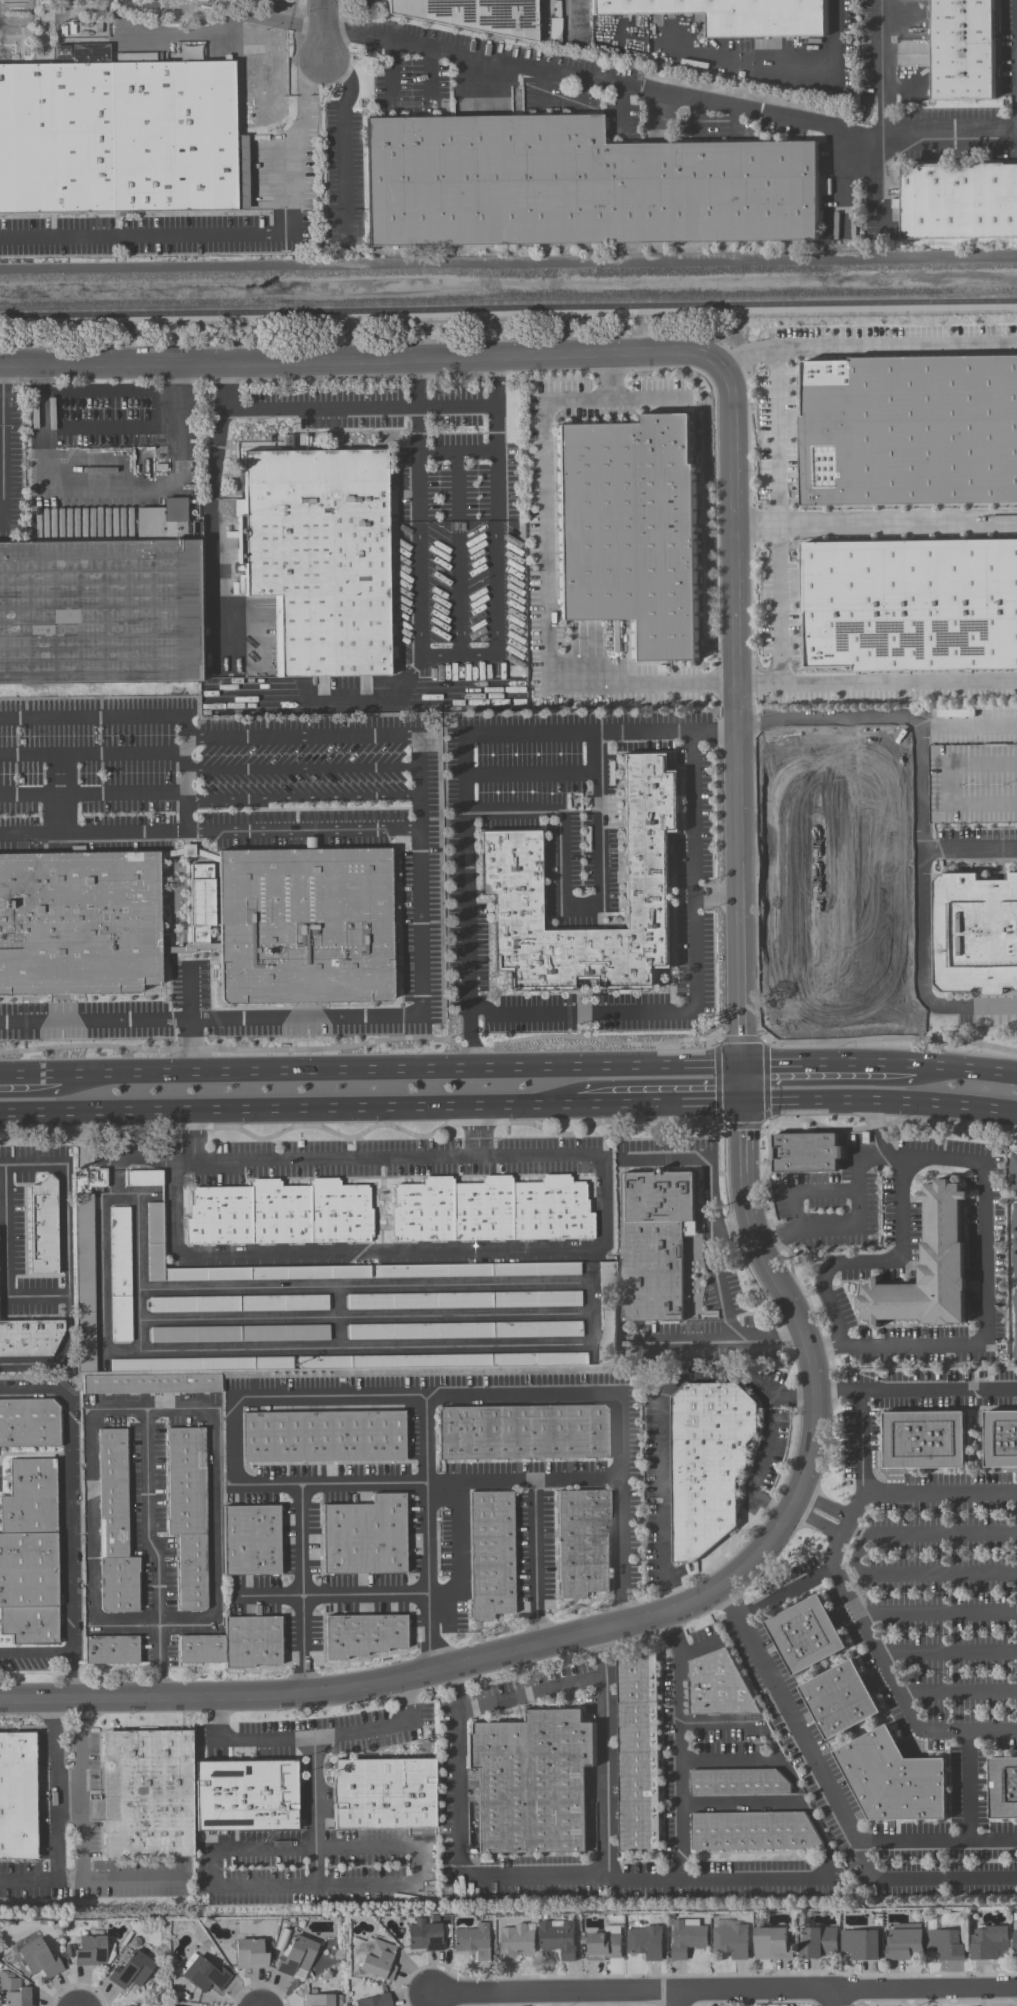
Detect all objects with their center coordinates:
building: (473, 16)
building: (730, 16)
road: (1016, 20)
road: (222, 26)
road: (324, 28)
building: (961, 50)
road: (720, 57)
road: (880, 68)
road: (670, 95)
road: (339, 137)
building: (120, 139)
building: (574, 187)
building: (958, 203)
road: (238, 235)
road: (508, 307)
road: (747, 352)
road: (360, 356)
road: (492, 382)
road: (649, 397)
road: (778, 397)
road: (112, 428)
building: (909, 428)
road: (222, 429)
road: (2, 441)
road: (456, 451)
road: (112, 490)
road: (876, 522)
building: (161, 523)
building: (630, 529)
road: (546, 546)
road: (458, 555)
building: (317, 558)
road: (211, 573)
road: (498, 585)
building: (909, 605)
building: (99, 614)
road: (702, 681)
road: (877, 685)
road: (150, 720)
road: (969, 729)
road: (94, 754)
road: (465, 764)
road: (304, 769)
road: (533, 774)
building: (972, 782)
parking lot: (972, 782)
road: (949, 784)
road: (94, 792)
road: (304, 798)
road: (921, 823)
road: (304, 832)
road: (94, 833)
road: (969, 849)
building: (187, 850)
building: (831, 853)
building: (506, 866)
road: (718, 898)
building: (200, 900)
road: (574, 909)
building: (79, 921)
building: (303, 929)
building: (975, 934)
road: (833, 969)
road: (421, 971)
road: (695, 986)
parking lot: (847, 989)
road: (839, 1009)
road: (189, 1020)
road: (840, 1062)
traffic signals: (745, 1066)
road: (976, 1069)
road: (404, 1071)
road: (32, 1077)
road: (765, 1083)
road: (717, 1084)
road: (881, 1100)
road: (650, 1102)
traffic signals: (745, 1102)
road: (278, 1109)
road: (875, 1128)
road: (194, 1136)
building: (805, 1153)
road: (144, 1157)
road: (32, 1165)
building: (1013, 1173)
building: (143, 1178)
road: (985, 1188)
road: (806, 1191)
road: (3, 1205)
building: (490, 1212)
road: (66, 1215)
building: (280, 1216)
road: (858, 1220)
building: (43, 1228)
road: (7, 1231)
building: (155, 1234)
road: (776, 1238)
building: (1015, 1239)
road: (710, 1240)
building: (653, 1246)
road: (323, 1254)
road: (871, 1261)
building: (85, 1266)
building: (476, 1270)
building: (926, 1272)
building: (120, 1275)
road: (38, 1297)
building: (464, 1300)
building: (239, 1304)
building: (608, 1313)
building: (1016, 1322)
building: (466, 1330)
building: (239, 1334)
building: (29, 1340)
road: (911, 1345)
road: (824, 1347)
road: (808, 1352)
building: (441, 1360)
building: (200, 1364)
building: (152, 1384)
road: (937, 1389)
road: (837, 1390)
road: (35, 1391)
road: (368, 1395)
road: (189, 1410)
road: (662, 1418)
building: (30, 1425)
building: (525, 1434)
building: (325, 1439)
building: (924, 1440)
building: (1000, 1440)
road: (859, 1442)
building: (708, 1465)
road: (760, 1466)
road: (524, 1481)
road: (364, 1484)
road: (938, 1492)
road: (825, 1504)
building: (189, 1515)
road: (147, 1516)
road: (816, 1527)
building: (116, 1530)
road: (427, 1534)
building: (365, 1538)
building: (253, 1542)
building: (585, 1544)
road: (69, 1549)
building: (30, 1556)
building: (490, 1556)
road: (859, 1556)
road: (536, 1563)
road: (365, 1592)
road: (785, 1593)
road: (729, 1604)
road: (937, 1613)
building: (363, 1636)
building: (805, 1636)
building: (236, 1645)
building: (113, 1651)
road: (36, 1653)
road: (947, 1653)
road: (879, 1658)
building: (719, 1687)
road: (958, 1692)
road: (531, 1693)
building: (839, 1701)
road: (384, 1725)
building: (638, 1753)
building: (893, 1780)
building: (531, 1782)
building: (738, 1783)
road: (967, 1785)
building: (1003, 1789)
building: (146, 1795)
building: (383, 1795)
building: (17, 1797)
building: (245, 1797)
road: (835, 1801)
road: (58, 1818)
building: (752, 1832)
road: (81, 1839)
road: (315, 1862)
road: (416, 1862)
road: (556, 1878)
road: (645, 1880)
road: (734, 1880)
road: (924, 1881)
building: (424, 1936)
building: (687, 1938)
building: (558, 1939)
building: (472, 1942)
building: (645, 1942)
building: (731, 1942)
building: (905, 1942)
building: (1015, 1942)
building: (515, 1943)
building: (817, 1943)
building: (989, 1943)
building: (604, 1945)
building: (771, 1945)
building: (860, 1945)
building: (945, 1945)
building: (93, 1952)
building: (250, 1955)
building: (296, 1957)
building: (39, 1960)
building: (378, 1961)
building: (131, 1971)
building: (203, 1975)
building: (14, 1991)
road: (725, 1992)
road: (676, 1999)
road: (839, 1999)
building: (318, 2000)
building: (374, 2001)
building: (144, 2005)

